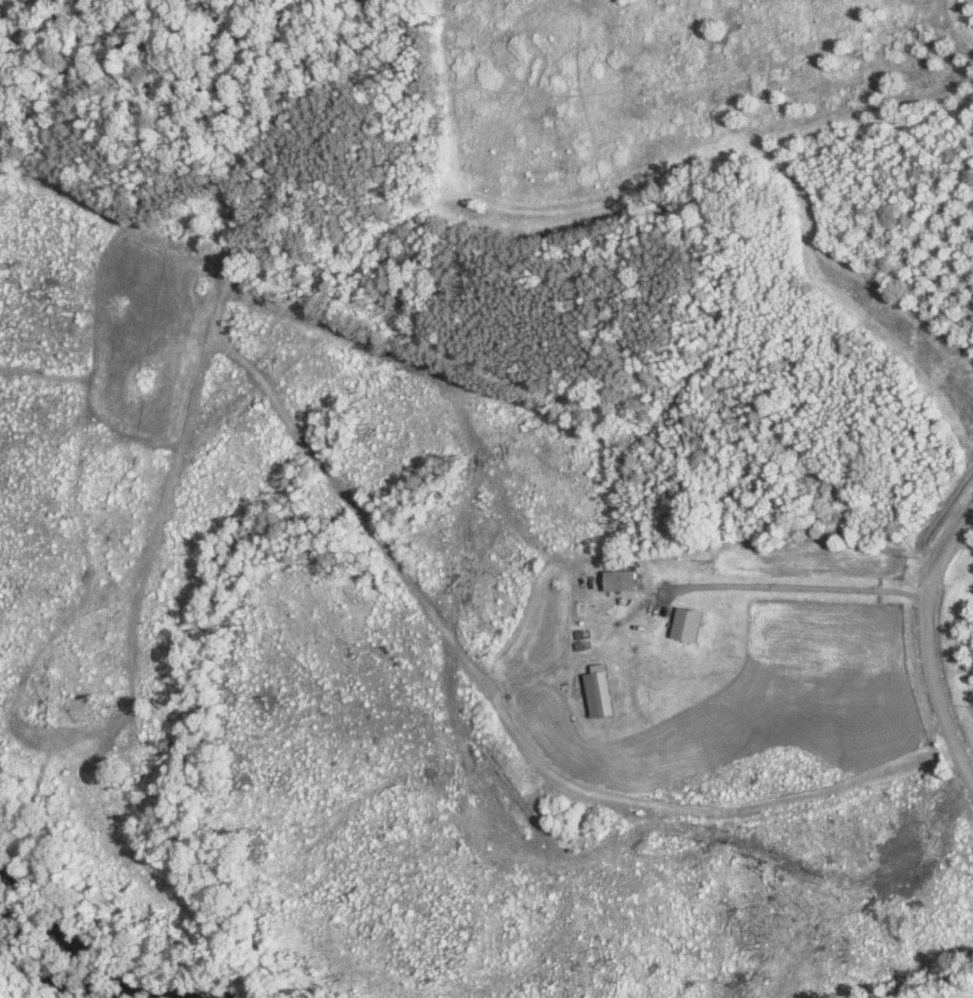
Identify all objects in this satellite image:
building: (685, 623)
building: (605, 689)

